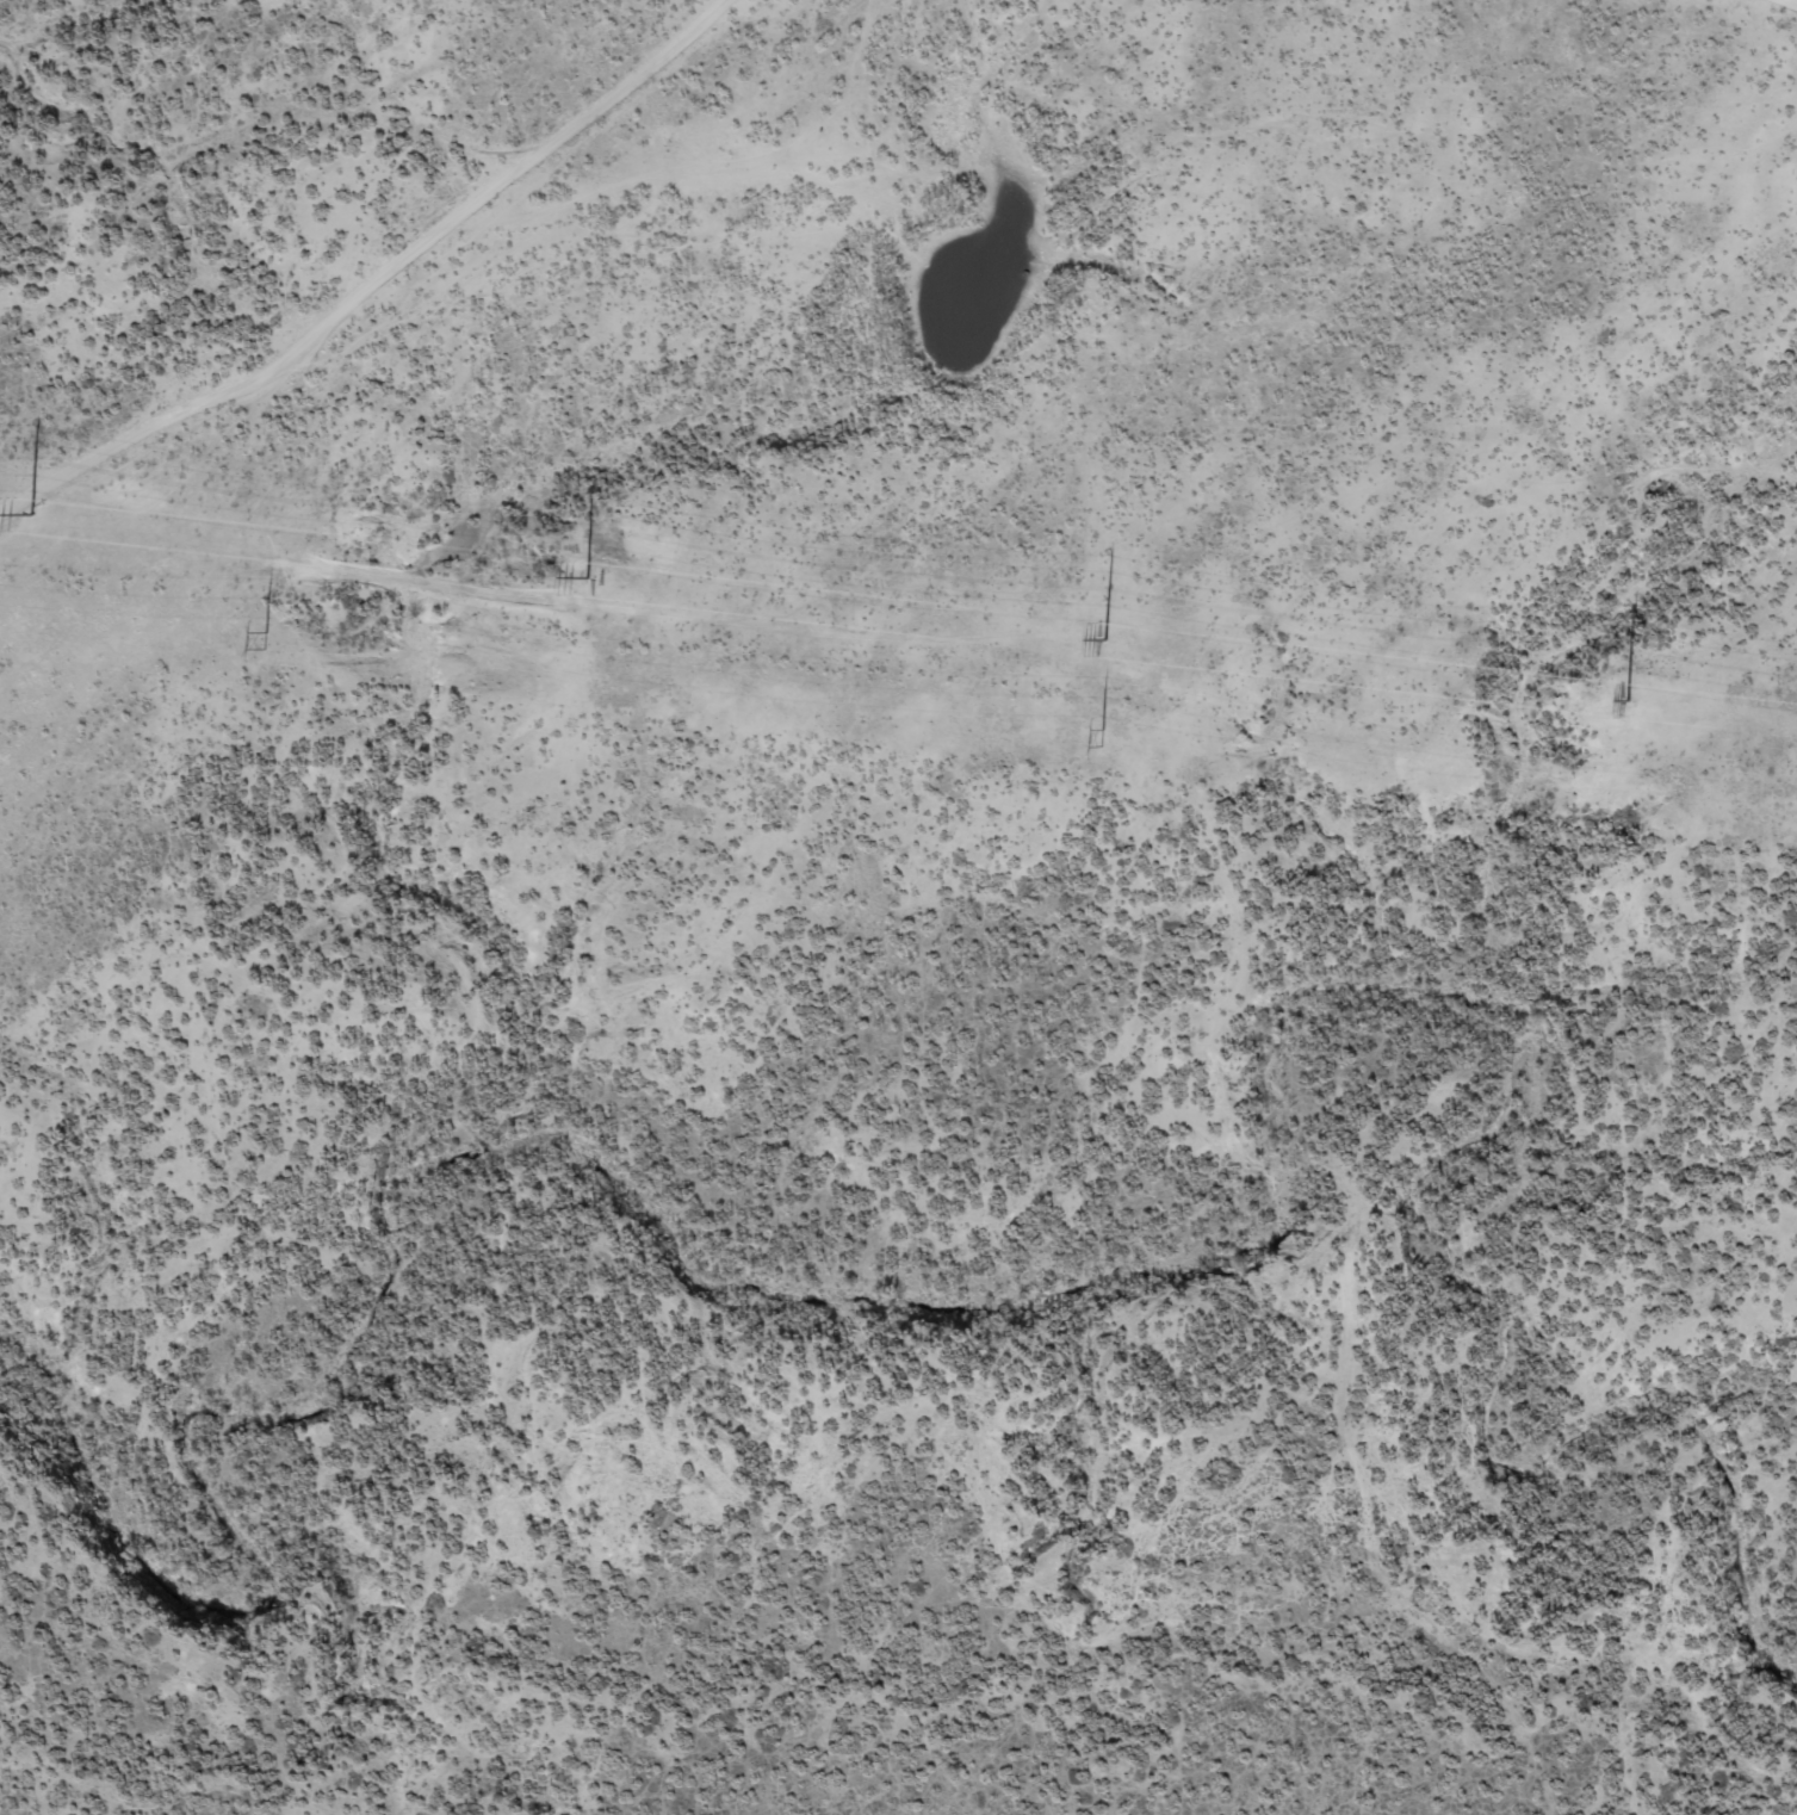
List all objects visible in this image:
road: (346, 265)
power tower: (31, 514)
power tower: (585, 577)
power tower: (1105, 639)
power tower: (259, 643)
power tower: (1629, 700)
power tower: (1101, 739)

